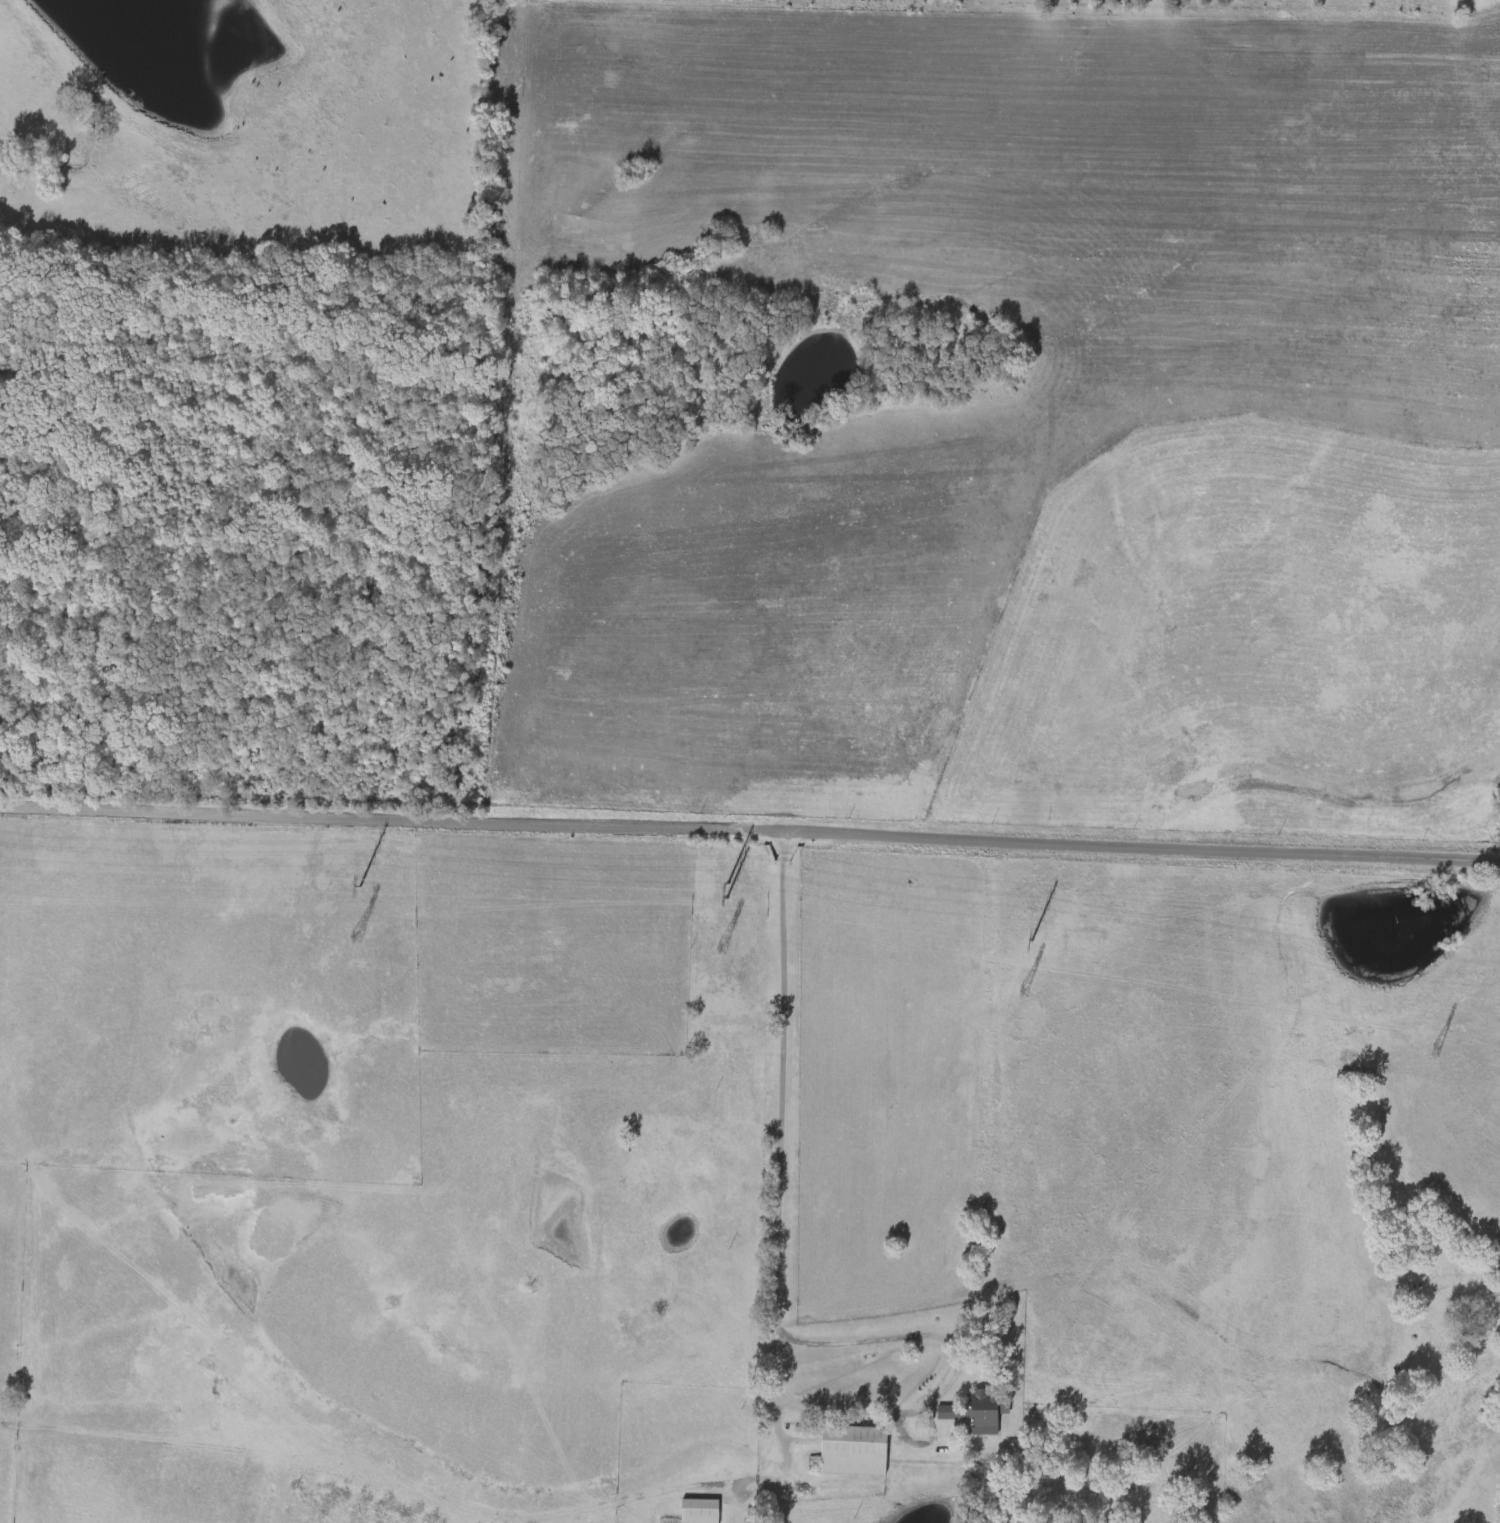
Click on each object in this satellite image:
road: (750, 833)
power tower: (358, 887)
power tower: (726, 900)
power tower: (1031, 943)
road: (190, 1169)
road: (778, 1204)
road: (957, 1370)
building: (984, 1413)
building: (855, 1451)
road: (730, 1506)
building: (704, 1512)

